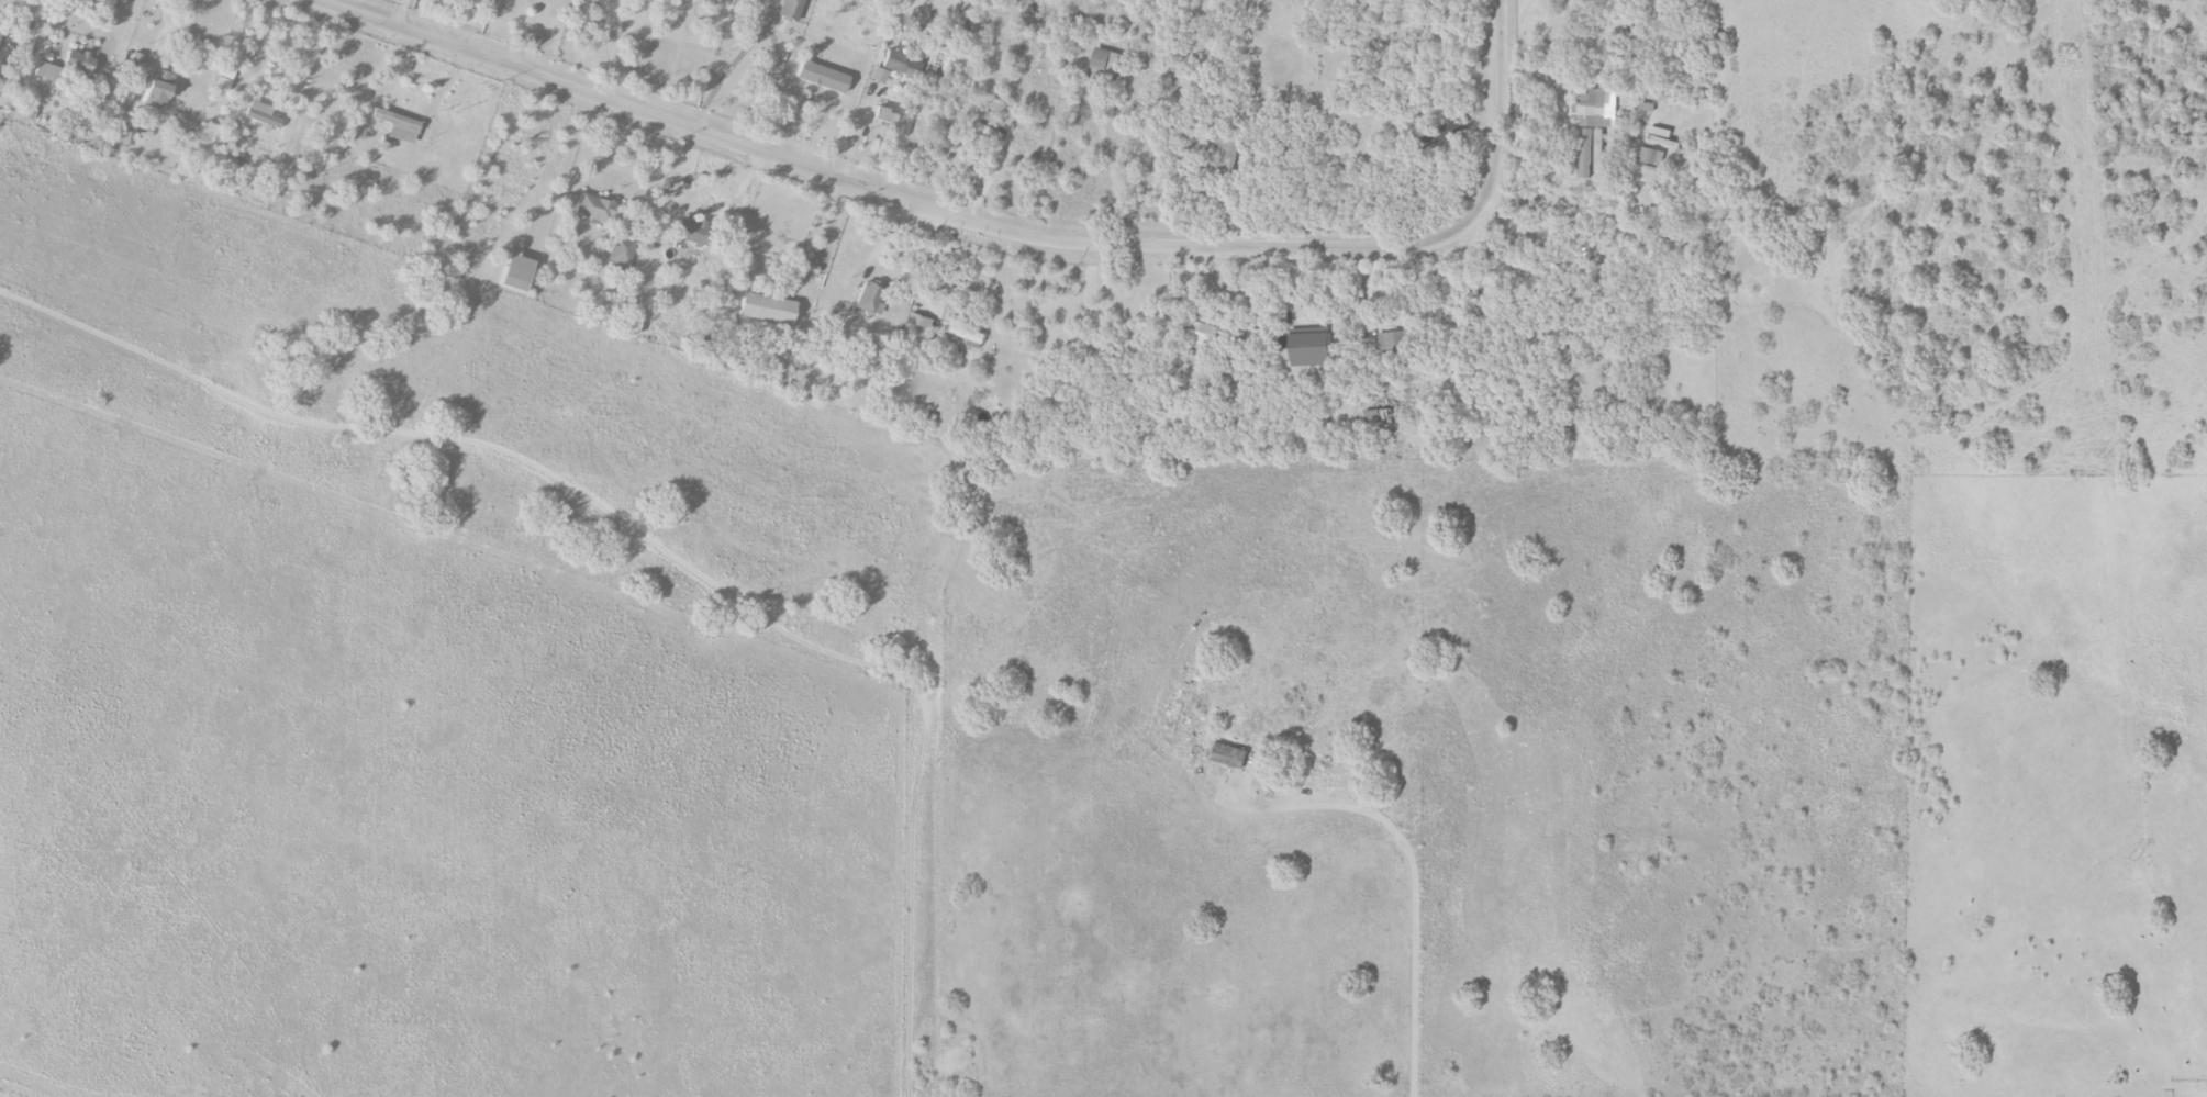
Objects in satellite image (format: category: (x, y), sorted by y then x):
building: (791, 9)
road: (156, 32)
road: (766, 35)
road: (609, 49)
power tower: (2070, 53)
building: (2, 56)
building: (1103, 60)
building: (79, 64)
building: (904, 65)
building: (45, 71)
building: (823, 78)
building: (225, 79)
building: (158, 90)
building: (261, 115)
building: (894, 120)
building: (398, 126)
building: (1593, 130)
building: (126, 135)
building: (1227, 147)
building: (1650, 156)
building: (1649, 173)
building: (595, 209)
road: (991, 226)
building: (690, 232)
building: (622, 250)
building: (1597, 267)
building: (519, 273)
building: (868, 299)
building: (768, 310)
building: (918, 324)
building: (963, 329)
building: (1203, 334)
building: (1391, 342)
building: (1314, 348)
building: (1376, 416)
power tower: (2098, 457)
building: (1231, 755)
power tower: (2132, 860)
road: (1411, 877)

